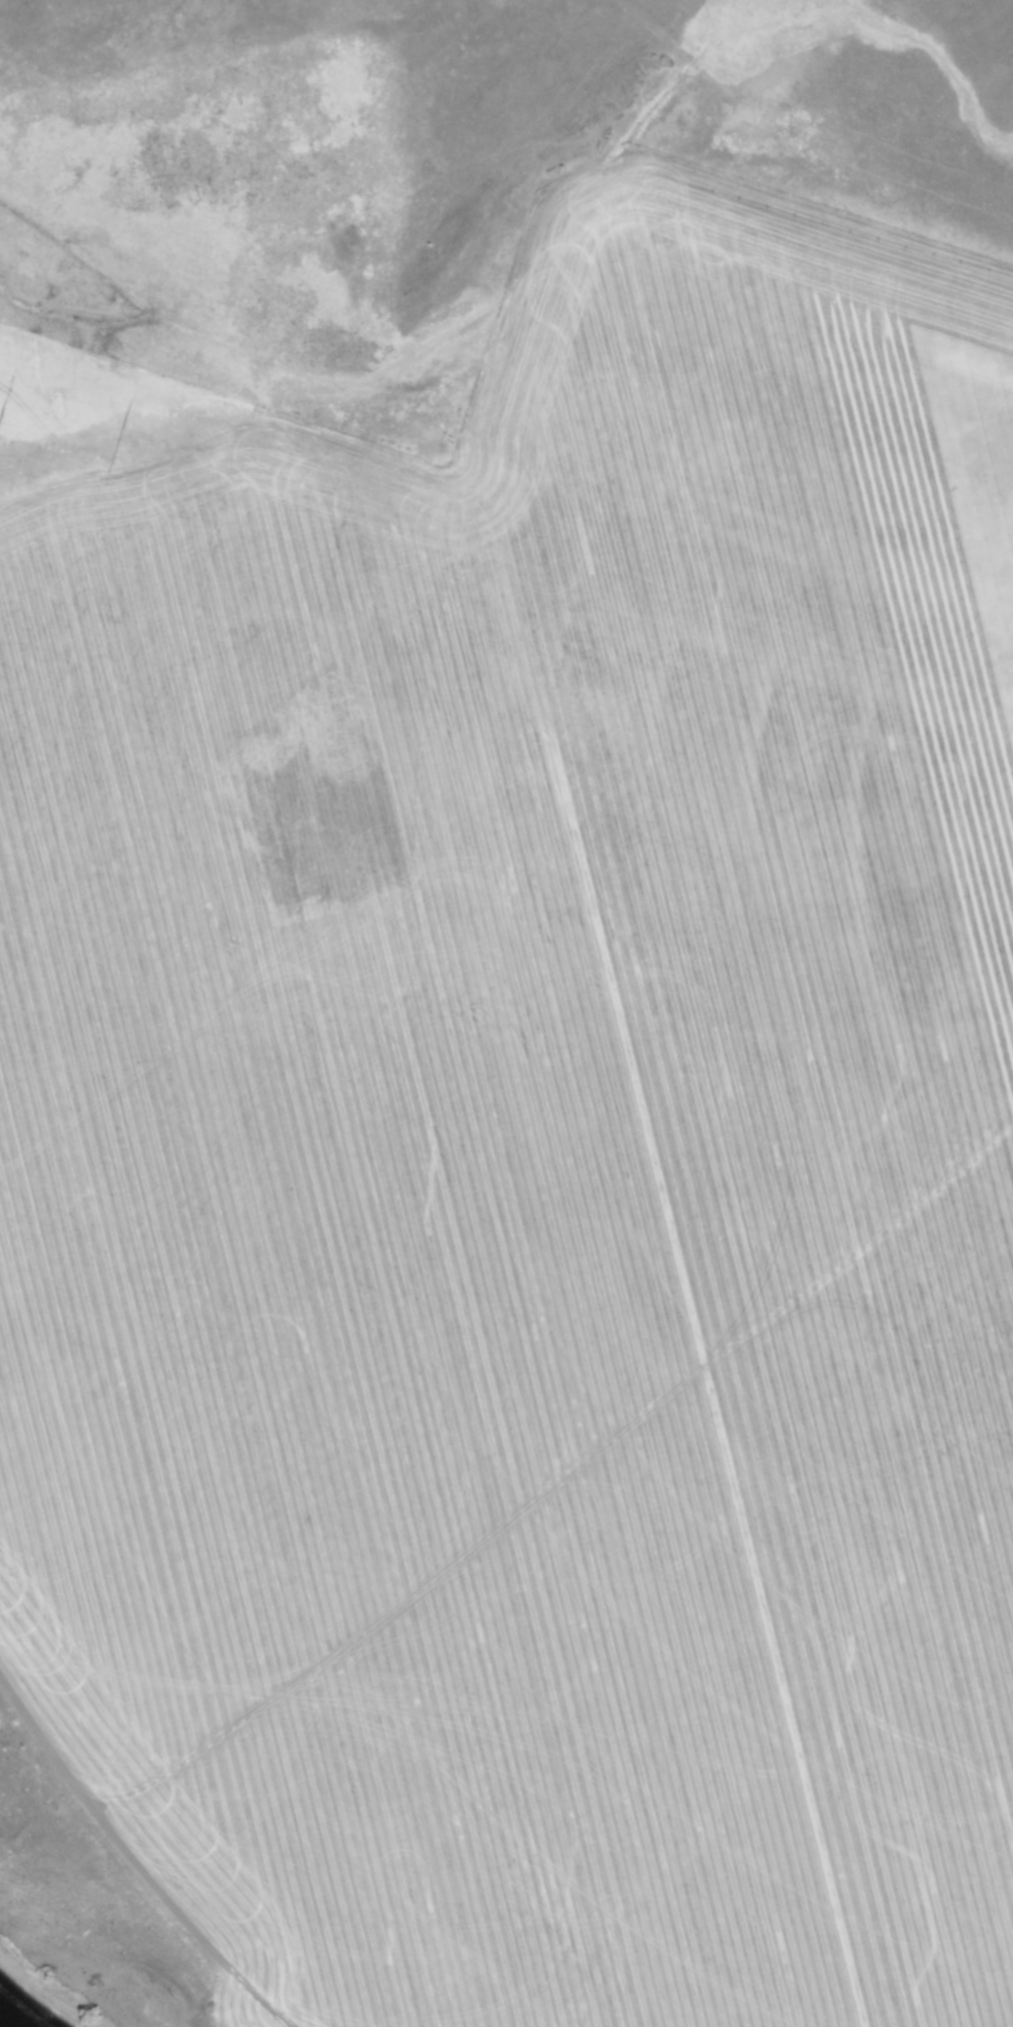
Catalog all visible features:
road: (819, 160)
road: (615, 1036)
crop: (529, 1143)
road: (136, 1837)

